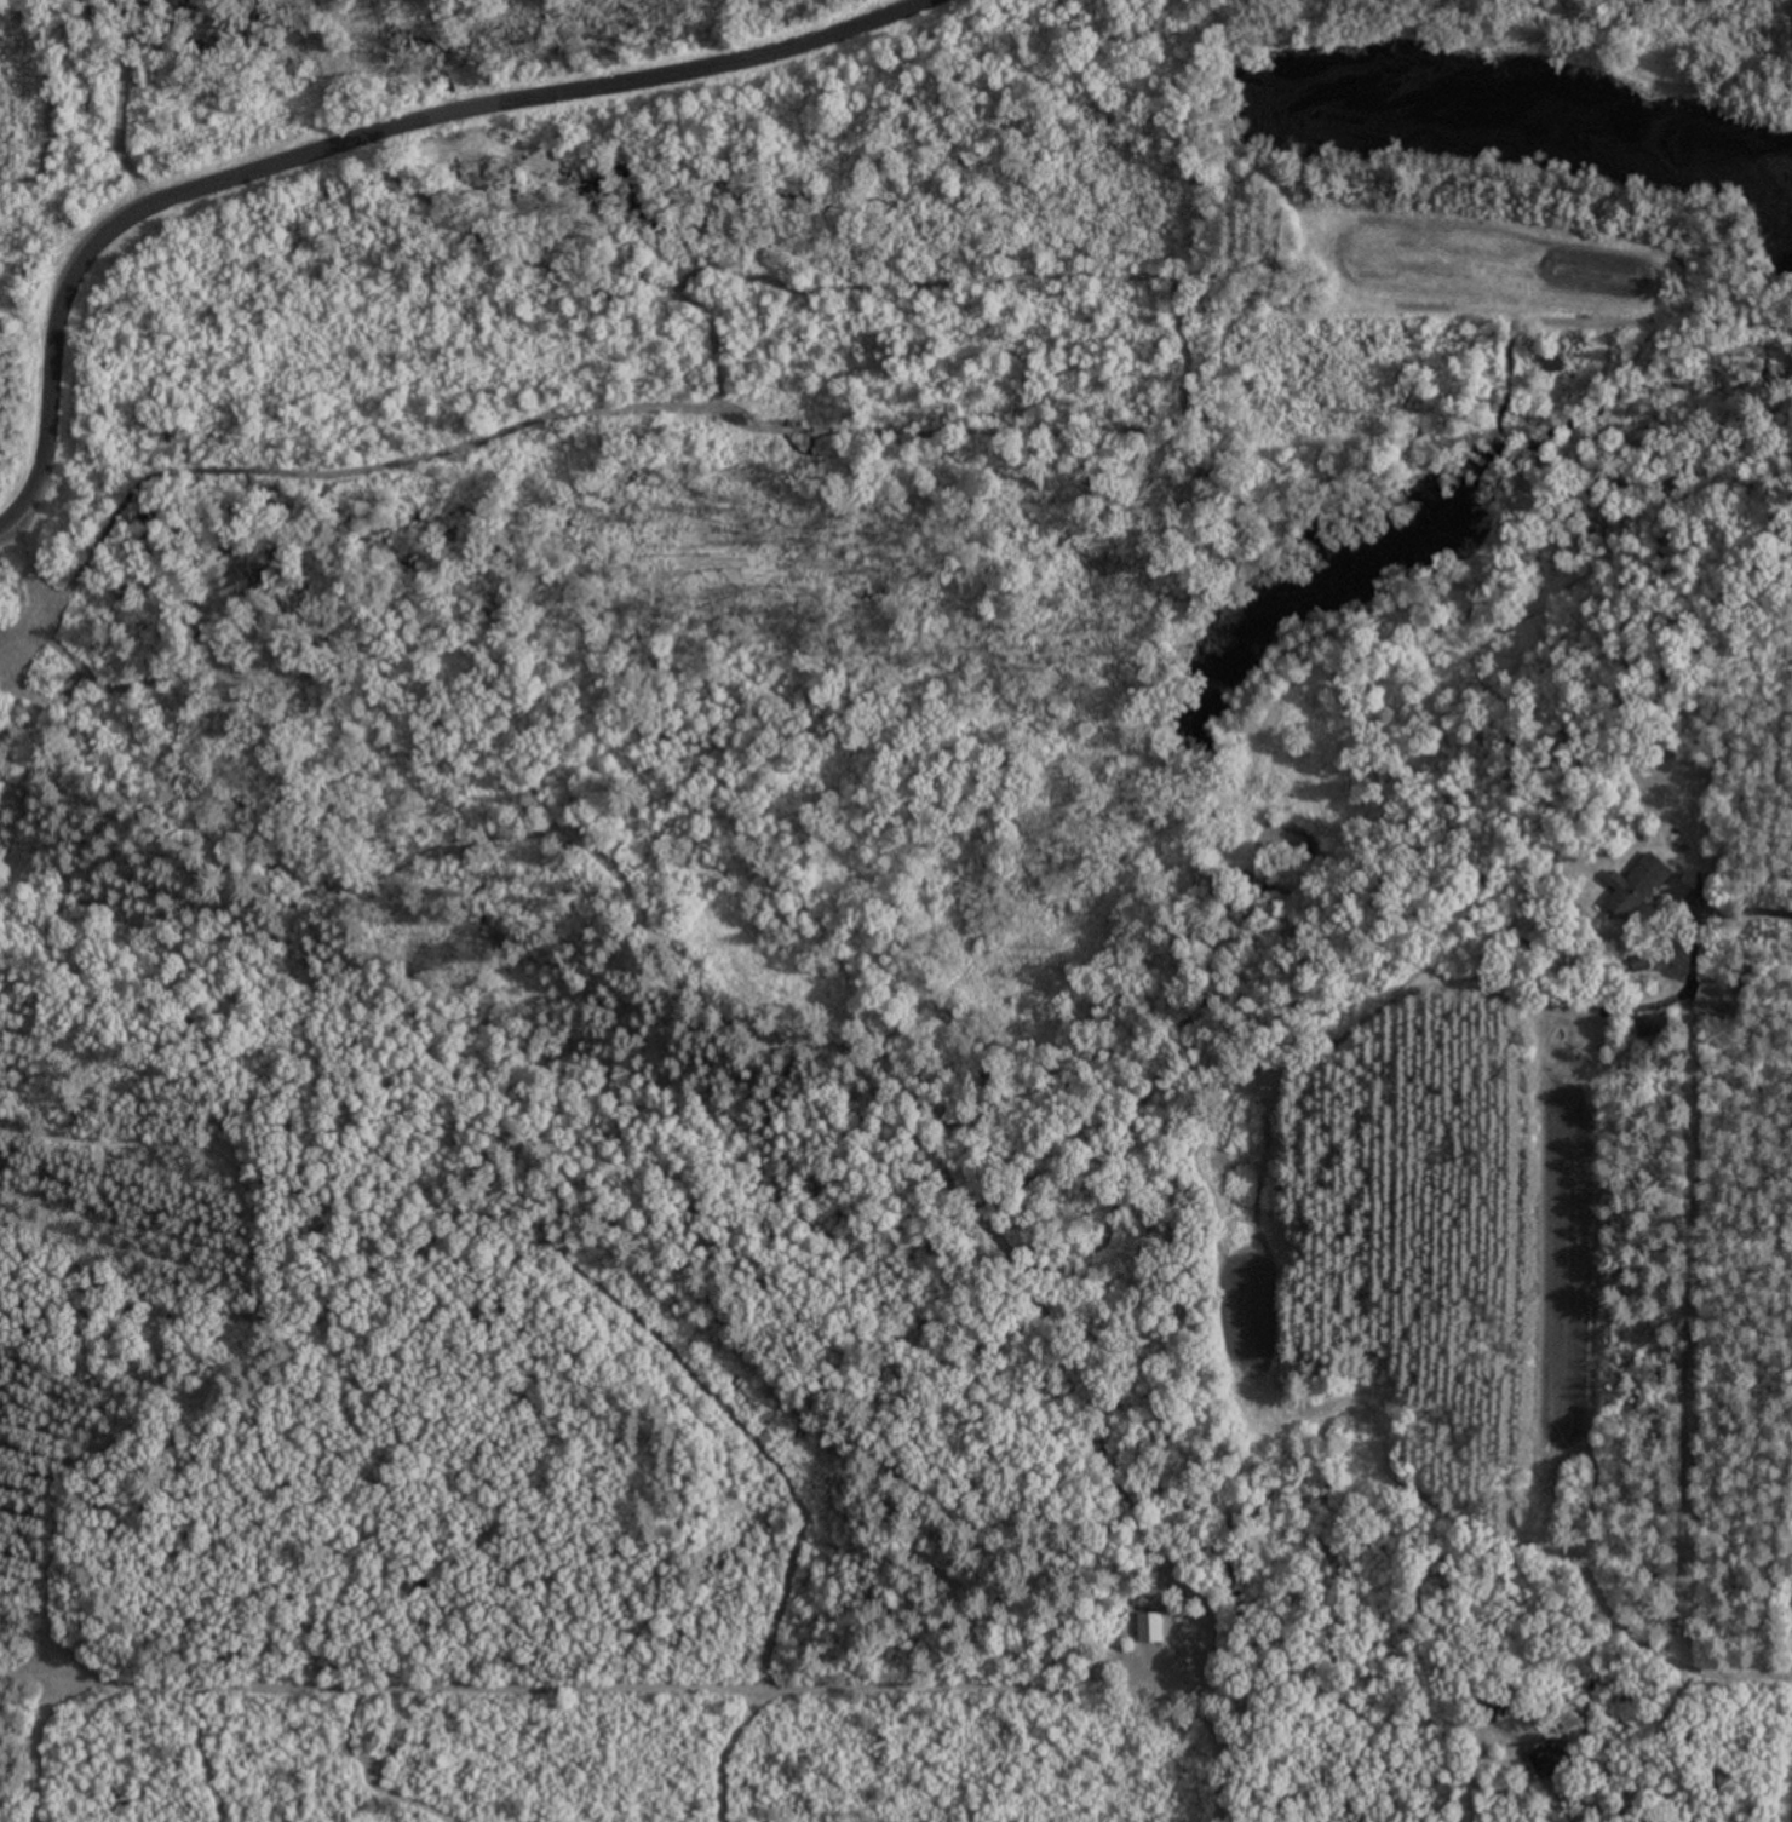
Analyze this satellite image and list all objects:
road: (366, 143)
building: (1645, 890)
building: (1715, 1001)
building: (1653, 1028)
building: (1151, 1631)
building: (1545, 1759)

